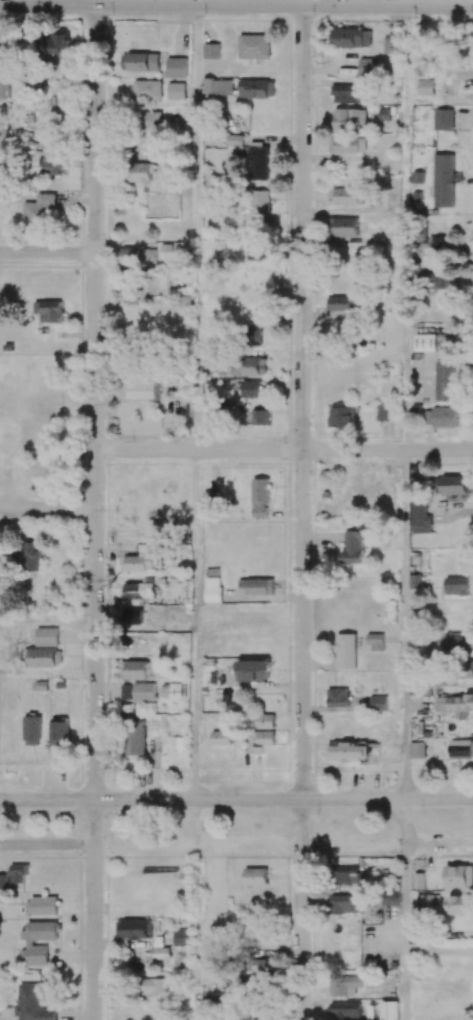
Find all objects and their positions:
road: (48, 2)
road: (236, 5)
street lamp: (38, 15)
street lamp: (113, 16)
street lamp: (205, 16)
street lamp: (313, 16)
street lamp: (415, 18)
building: (350, 38)
building: (60, 43)
building: (391, 45)
building: (254, 46)
road: (197, 51)
building: (212, 51)
building: (140, 62)
building: (176, 67)
building: (369, 67)
building: (460, 73)
building: (4, 82)
building: (218, 86)
building: (425, 87)
building: (257, 88)
building: (147, 90)
building: (176, 91)
building: (347, 93)
building: (385, 114)
building: (350, 118)
building: (442, 119)
building: (152, 121)
building: (234, 144)
building: (347, 144)
building: (258, 161)
building: (53, 165)
building: (139, 172)
building: (443, 180)
building: (346, 196)
building: (260, 200)
building: (39, 208)
building: (344, 226)
road: (405, 228)
building: (437, 243)
building: (259, 251)
road: (48, 253)
building: (137, 256)
building: (438, 280)
building: (341, 303)
building: (49, 310)
building: (254, 335)
building: (426, 342)
building: (249, 366)
building: (445, 381)
building: (251, 388)
building: (143, 389)
road: (95, 402)
road: (303, 402)
building: (386, 412)
building: (258, 417)
building: (342, 417)
building: (441, 417)
road: (284, 450)
building: (457, 484)
building: (355, 489)
building: (388, 489)
building: (260, 497)
building: (210, 498)
road: (47, 508)
building: (419, 516)
building: (356, 543)
building: (0, 554)
building: (32, 556)
building: (138, 563)
building: (415, 581)
building: (212, 584)
building: (459, 585)
building: (257, 586)
building: (138, 590)
building: (132, 616)
road: (196, 625)
road: (404, 625)
building: (46, 637)
building: (461, 640)
building: (376, 642)
building: (345, 651)
building: (43, 657)
building: (470, 669)
building: (134, 670)
building: (253, 670)
building: (38, 686)
building: (172, 690)
building: (138, 692)
building: (337, 697)
building: (378, 703)
building: (455, 704)
building: (265, 721)
building: (31, 730)
building: (59, 731)
building: (136, 737)
building: (221, 738)
building: (259, 741)
building: (461, 749)
building: (417, 750)
building: (347, 751)
road: (236, 799)
road: (249, 841)
road: (438, 841)
road: (47, 842)
building: (349, 874)
building: (18, 875)
building: (256, 876)
building: (459, 876)
building: (419, 880)
building: (3, 882)
building: (390, 897)
building: (2, 898)
building: (428, 899)
building: (345, 904)
building: (456, 905)
building: (41, 906)
road: (196, 909)
road: (302, 909)
road: (404, 909)
road: (94, 910)
building: (134, 929)
building: (218, 932)
building: (182, 937)
building: (30, 942)
building: (262, 965)
building: (343, 984)
building: (159, 986)
building: (33, 1004)
building: (345, 1010)
building: (389, 1010)

